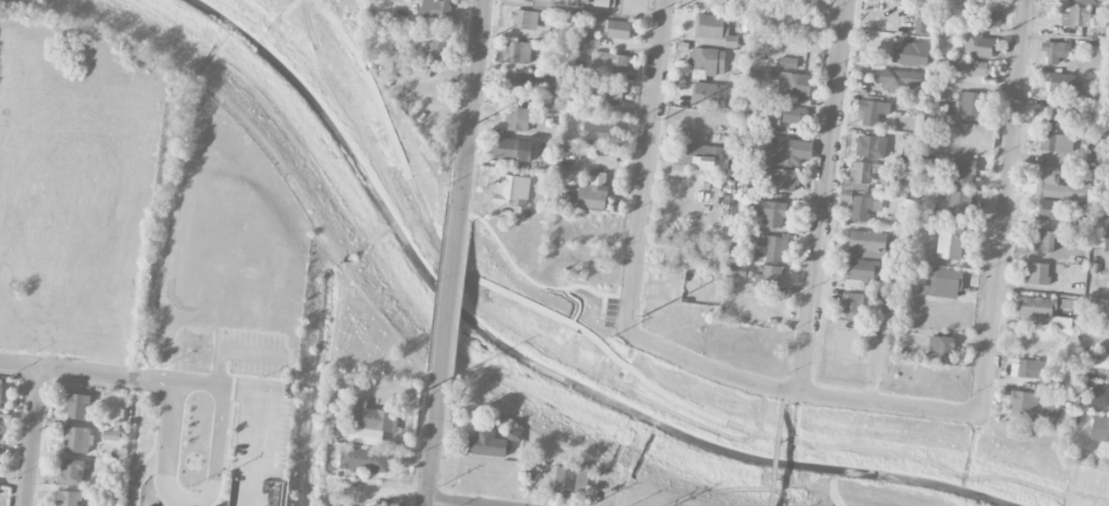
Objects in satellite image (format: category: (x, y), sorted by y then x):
building: (905, 0)
building: (1090, 1)
building: (606, 3)
road: (656, 3)
power substation: (591, 7)
building: (434, 9)
power tower: (677, 11)
building: (1078, 16)
building: (989, 18)
building: (524, 20)
building: (918, 25)
building: (618, 30)
building: (713, 30)
building: (587, 40)
building: (978, 45)
building: (436, 46)
building: (1055, 51)
building: (518, 52)
building: (910, 54)
building: (706, 62)
building: (609, 63)
building: (787, 63)
building: (969, 67)
building: (899, 80)
building: (794, 84)
building: (1066, 85)
building: (518, 86)
building: (713, 95)
road: (472, 96)
building: (553, 96)
building: (971, 103)
building: (755, 108)
building: (872, 109)
building: (790, 114)
power tower: (663, 117)
building: (517, 119)
building: (1058, 119)
building: (599, 132)
power tower: (455, 137)
building: (1056, 143)
building: (870, 146)
building: (511, 150)
building: (910, 150)
building: (789, 151)
building: (702, 158)
road: (645, 166)
building: (961, 172)
building: (869, 173)
building: (783, 179)
building: (1057, 185)
building: (754, 188)
building: (511, 189)
building: (592, 191)
road: (824, 197)
building: (959, 205)
building: (863, 208)
road: (1004, 208)
building: (1052, 210)
building: (1079, 210)
building: (771, 213)
building: (1037, 241)
building: (949, 242)
building: (867, 243)
building: (1106, 245)
building: (773, 246)
building: (736, 271)
building: (861, 273)
building: (1035, 274)
building: (768, 275)
building: (943, 284)
road: (452, 291)
road: (532, 305)
building: (851, 305)
building: (1036, 307)
power tower: (644, 317)
road: (235, 348)
building: (939, 350)
building: (1097, 364)
road: (70, 369)
building: (1026, 369)
road: (710, 372)
building: (0, 386)
road: (258, 391)
power tower: (425, 395)
building: (1100, 395)
building: (1023, 405)
building: (77, 406)
road: (890, 407)
building: (1054, 411)
building: (372, 418)
building: (1100, 428)
road: (33, 436)
building: (514, 436)
building: (77, 440)
building: (486, 443)
road: (434, 449)
road: (776, 449)
building: (363, 459)
building: (72, 472)
road: (139, 474)
building: (581, 479)
building: (564, 482)
road: (607, 494)
building: (68, 498)
road: (188, 502)
road: (445, 504)

